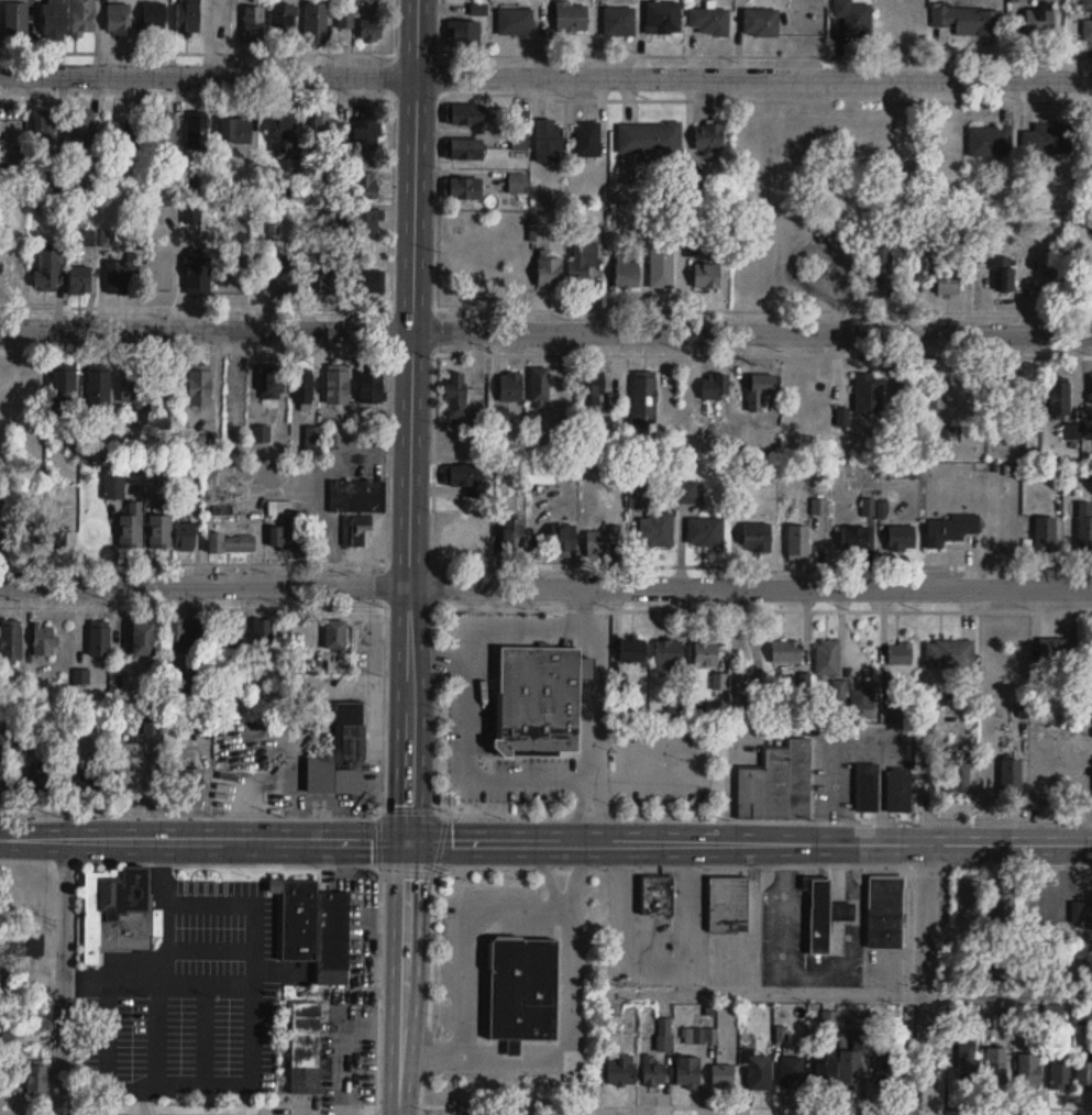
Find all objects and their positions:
building: (1085, 3)
building: (479, 9)
building: (152, 14)
building: (569, 14)
building: (187, 15)
building: (660, 15)
building: (852, 15)
building: (79, 16)
building: (617, 18)
building: (708, 18)
building: (118, 19)
building: (514, 19)
building: (16, 20)
building: (54, 20)
building: (969, 20)
building: (284, 22)
building: (762, 22)
building: (1041, 22)
building: (254, 24)
building: (316, 24)
building: (1087, 27)
building: (371, 29)
building: (463, 33)
road: (245, 52)
road: (744, 54)
road: (545, 76)
road: (196, 96)
road: (763, 99)
building: (464, 114)
building: (84, 128)
building: (45, 129)
building: (326, 130)
building: (122, 131)
building: (235, 131)
building: (520, 131)
building: (366, 133)
building: (167, 134)
building: (198, 134)
building: (285, 135)
building: (648, 136)
building: (1050, 136)
building: (710, 137)
building: (588, 139)
building: (549, 141)
building: (990, 142)
building: (464, 148)
building: (518, 183)
building: (365, 185)
building: (463, 188)
road: (435, 199)
road: (390, 201)
building: (365, 221)
building: (583, 261)
building: (661, 264)
building: (48, 271)
building: (549, 271)
building: (627, 272)
building: (880, 272)
building: (16, 273)
building: (198, 274)
building: (165, 275)
building: (1004, 275)
building: (330, 276)
building: (119, 277)
building: (706, 277)
building: (947, 277)
building: (80, 279)
building: (286, 279)
building: (1090, 280)
building: (369, 281)
road: (635, 307)
road: (389, 329)
road: (545, 330)
road: (763, 353)
building: (273, 383)
building: (134, 385)
building: (338, 385)
building: (540, 385)
building: (5, 386)
building: (304, 387)
building: (371, 387)
building: (511, 387)
building: (593, 387)
building: (1002, 387)
building: (198, 388)
building: (64, 389)
building: (936, 391)
building: (762, 393)
building: (869, 393)
building: (100, 395)
building: (457, 395)
building: (1060, 399)
building: (644, 400)
road: (409, 420)
building: (1072, 431)
building: (263, 434)
road: (387, 456)
building: (541, 473)
building: (466, 478)
building: (113, 485)
building: (363, 496)
building: (820, 507)
building: (132, 527)
building: (1084, 529)
building: (655, 530)
building: (950, 530)
building: (357, 531)
building: (161, 532)
building: (706, 532)
building: (4, 536)
building: (1046, 536)
building: (185, 537)
building: (512, 537)
building: (902, 538)
building: (758, 539)
building: (856, 539)
building: (285, 540)
building: (563, 541)
building: (461, 542)
building: (602, 542)
building: (798, 543)
building: (51, 544)
building: (231, 544)
road: (386, 584)
road: (431, 586)
road: (545, 586)
building: (304, 634)
building: (335, 636)
building: (176, 638)
building: (202, 639)
building: (231, 639)
building: (99, 640)
building: (142, 640)
building: (43, 641)
building: (263, 642)
building: (10, 643)
building: (632, 651)
building: (786, 652)
building: (1057, 652)
building: (669, 653)
building: (706, 653)
building: (901, 654)
building: (950, 654)
building: (829, 658)
road: (439, 660)
building: (1091, 661)
road: (600, 693)
building: (862, 699)
building: (539, 703)
road: (460, 733)
building: (343, 754)
building: (130, 768)
building: (958, 774)
building: (1012, 777)
building: (1, 783)
building: (779, 785)
building: (191, 788)
building: (868, 788)
building: (900, 791)
road: (592, 810)
road: (440, 813)
road: (766, 819)
road: (205, 839)
traffic signals: (409, 841)
road: (750, 842)
road: (189, 862)
road: (1019, 864)
building: (16, 891)
building: (658, 895)
building: (729, 904)
road: (564, 907)
building: (1003, 907)
building: (119, 910)
building: (886, 910)
building: (1082, 910)
building: (825, 915)
building: (317, 929)
road: (1055, 935)
road: (165, 936)
road: (461, 957)
building: (975, 971)
road: (62, 976)
road: (402, 978)
road: (925, 978)
road: (947, 984)
building: (525, 987)
road: (769, 991)
road: (989, 993)
building: (664, 1034)
building: (701, 1035)
road: (106, 1039)
road: (572, 1039)
road: (252, 1045)
building: (307, 1048)
building: (969, 1062)
building: (852, 1066)
building: (996, 1067)
building: (1060, 1067)
building: (620, 1068)
building: (825, 1068)
building: (688, 1069)
building: (886, 1069)
building: (1029, 1069)
building: (21, 1070)
building: (653, 1070)
building: (760, 1071)
building: (792, 1071)
building: (1083, 1073)
building: (723, 1074)
road: (25, 1099)
road: (497, 1102)
road: (1013, 1105)

